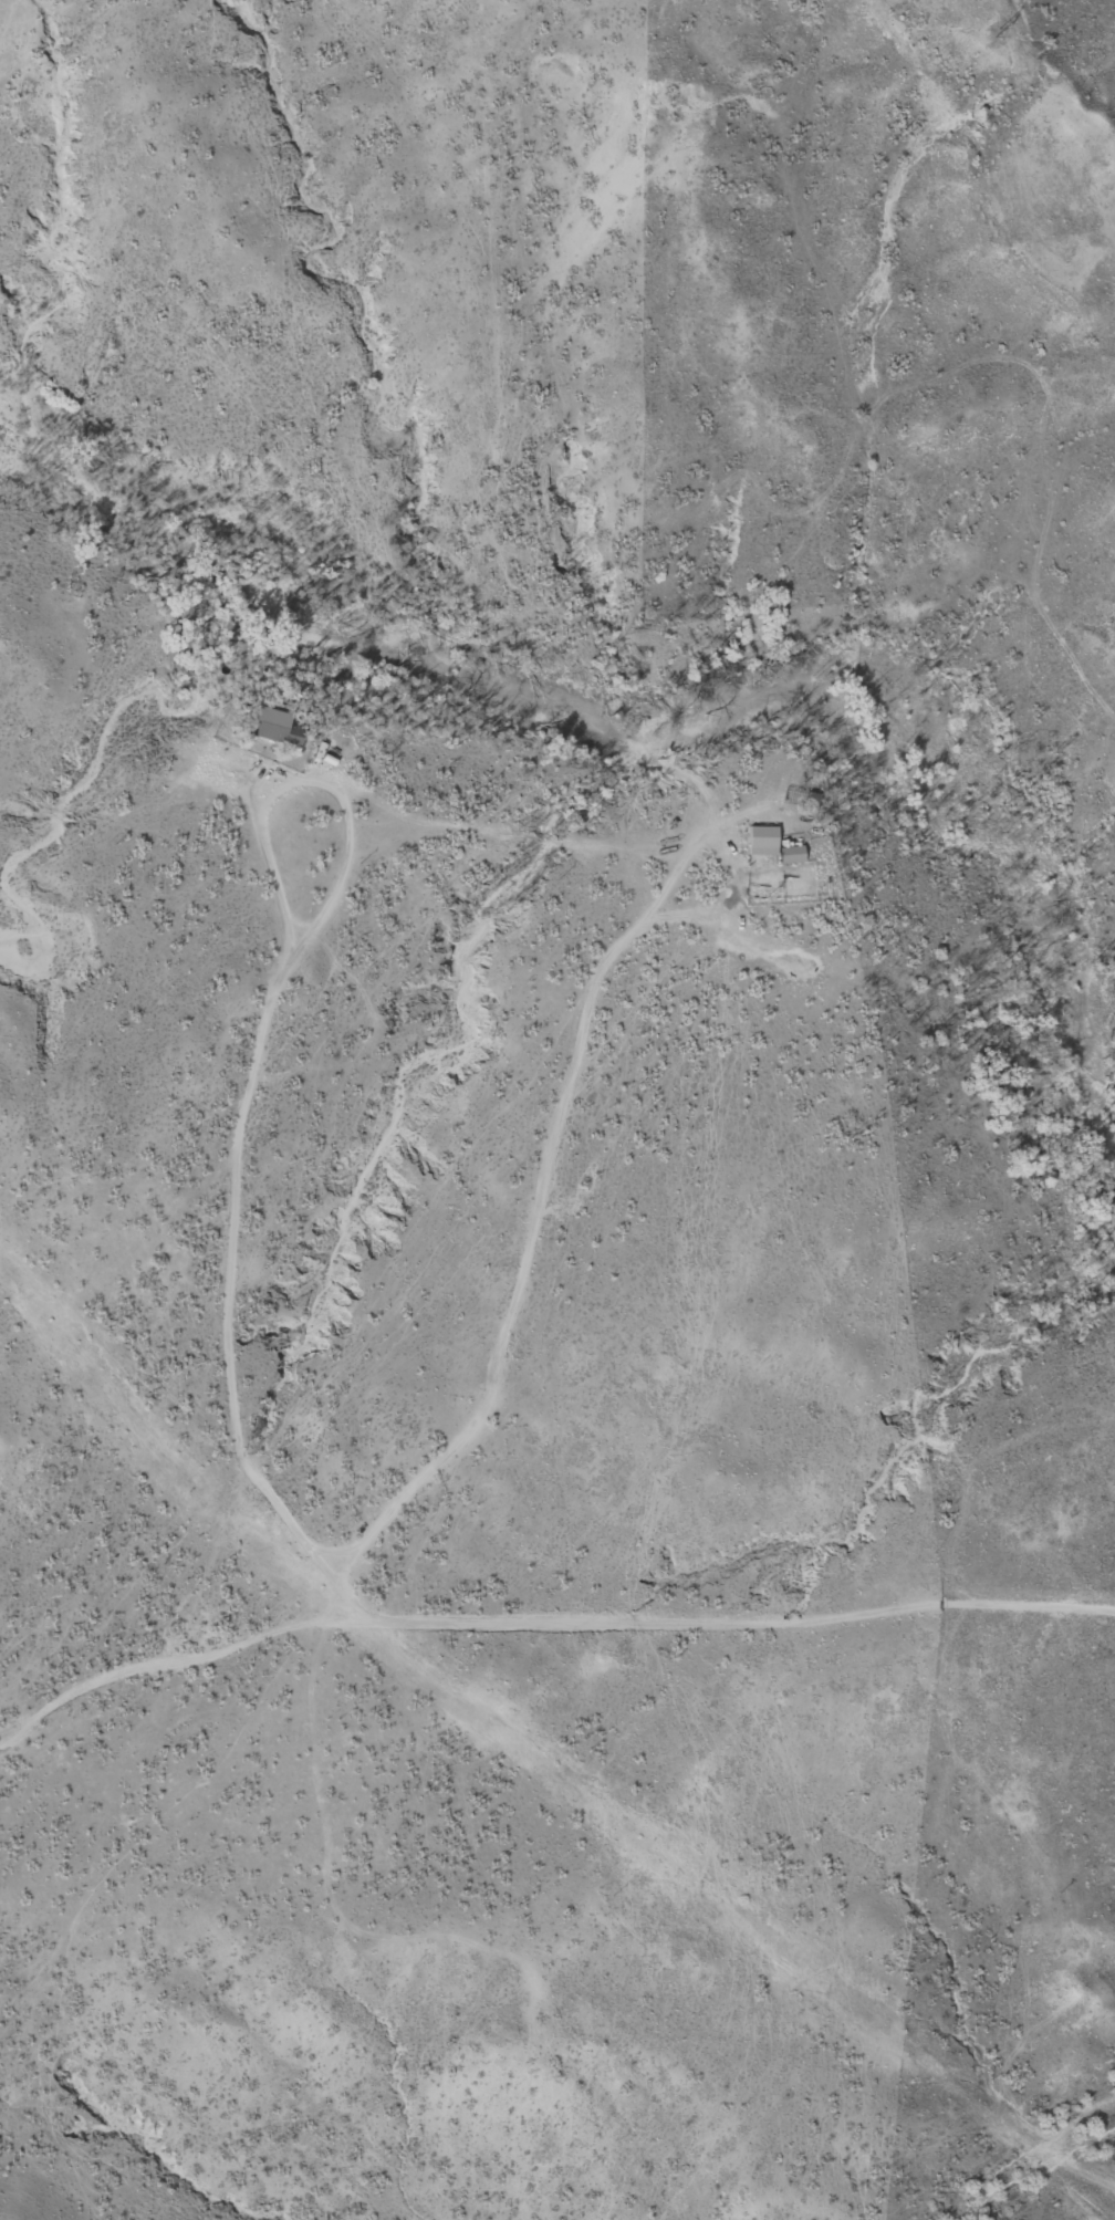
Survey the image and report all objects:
power tower: (996, 33)

